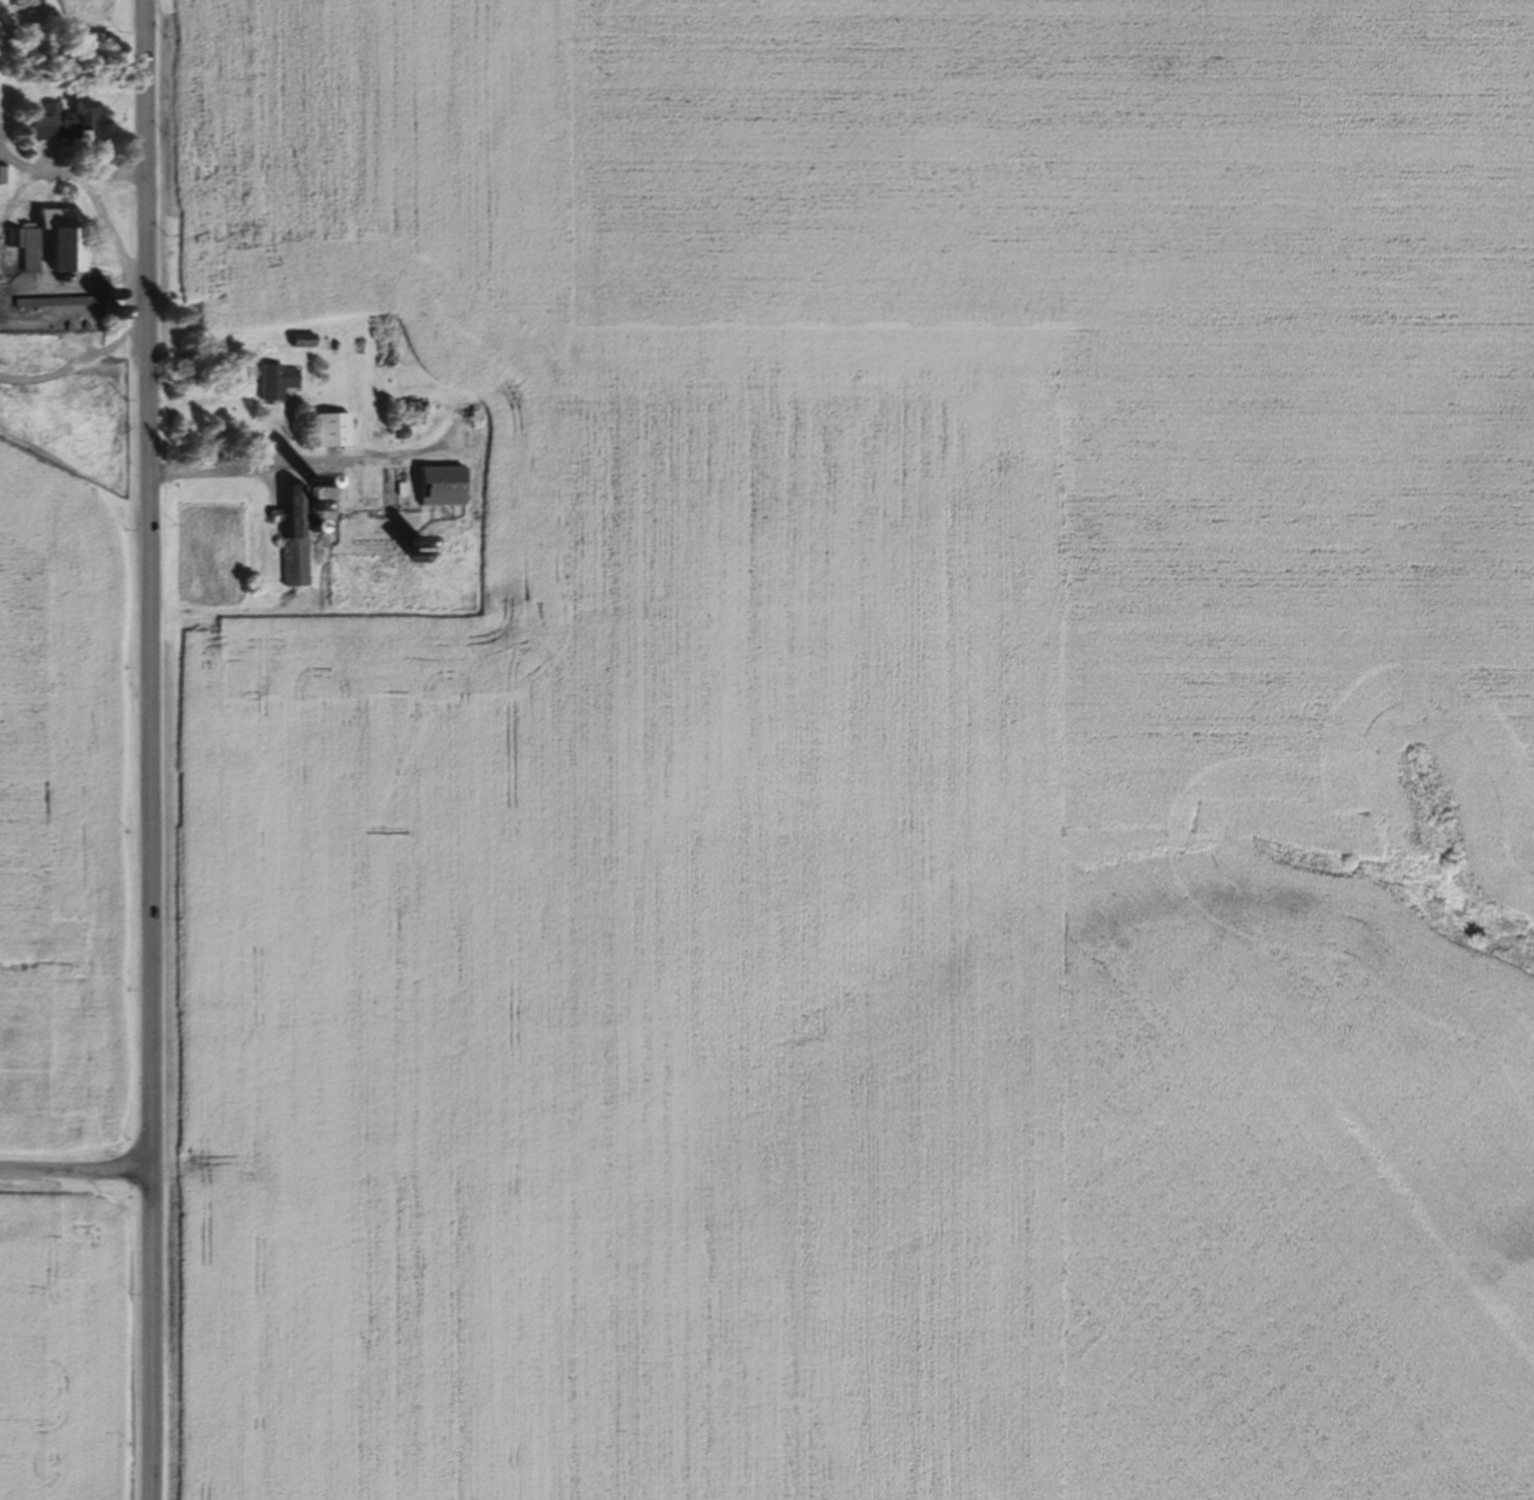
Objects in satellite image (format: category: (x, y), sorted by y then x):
building: (63, 120)
building: (4, 175)
building: (49, 242)
building: (302, 339)
building: (384, 352)
building: (276, 380)
building: (332, 429)
building: (440, 485)
building: (291, 534)
road: (151, 750)
road: (76, 1172)

